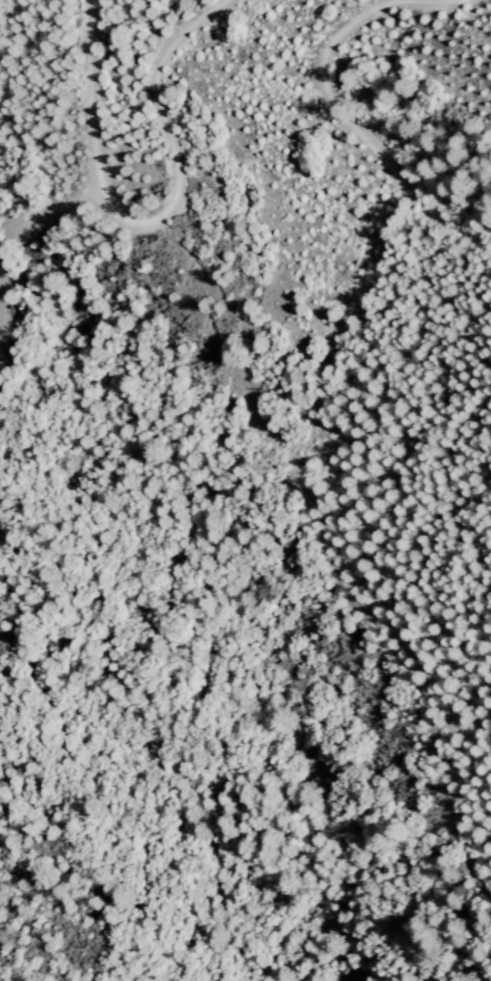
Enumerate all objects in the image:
road: (332, 106)
road: (150, 220)

